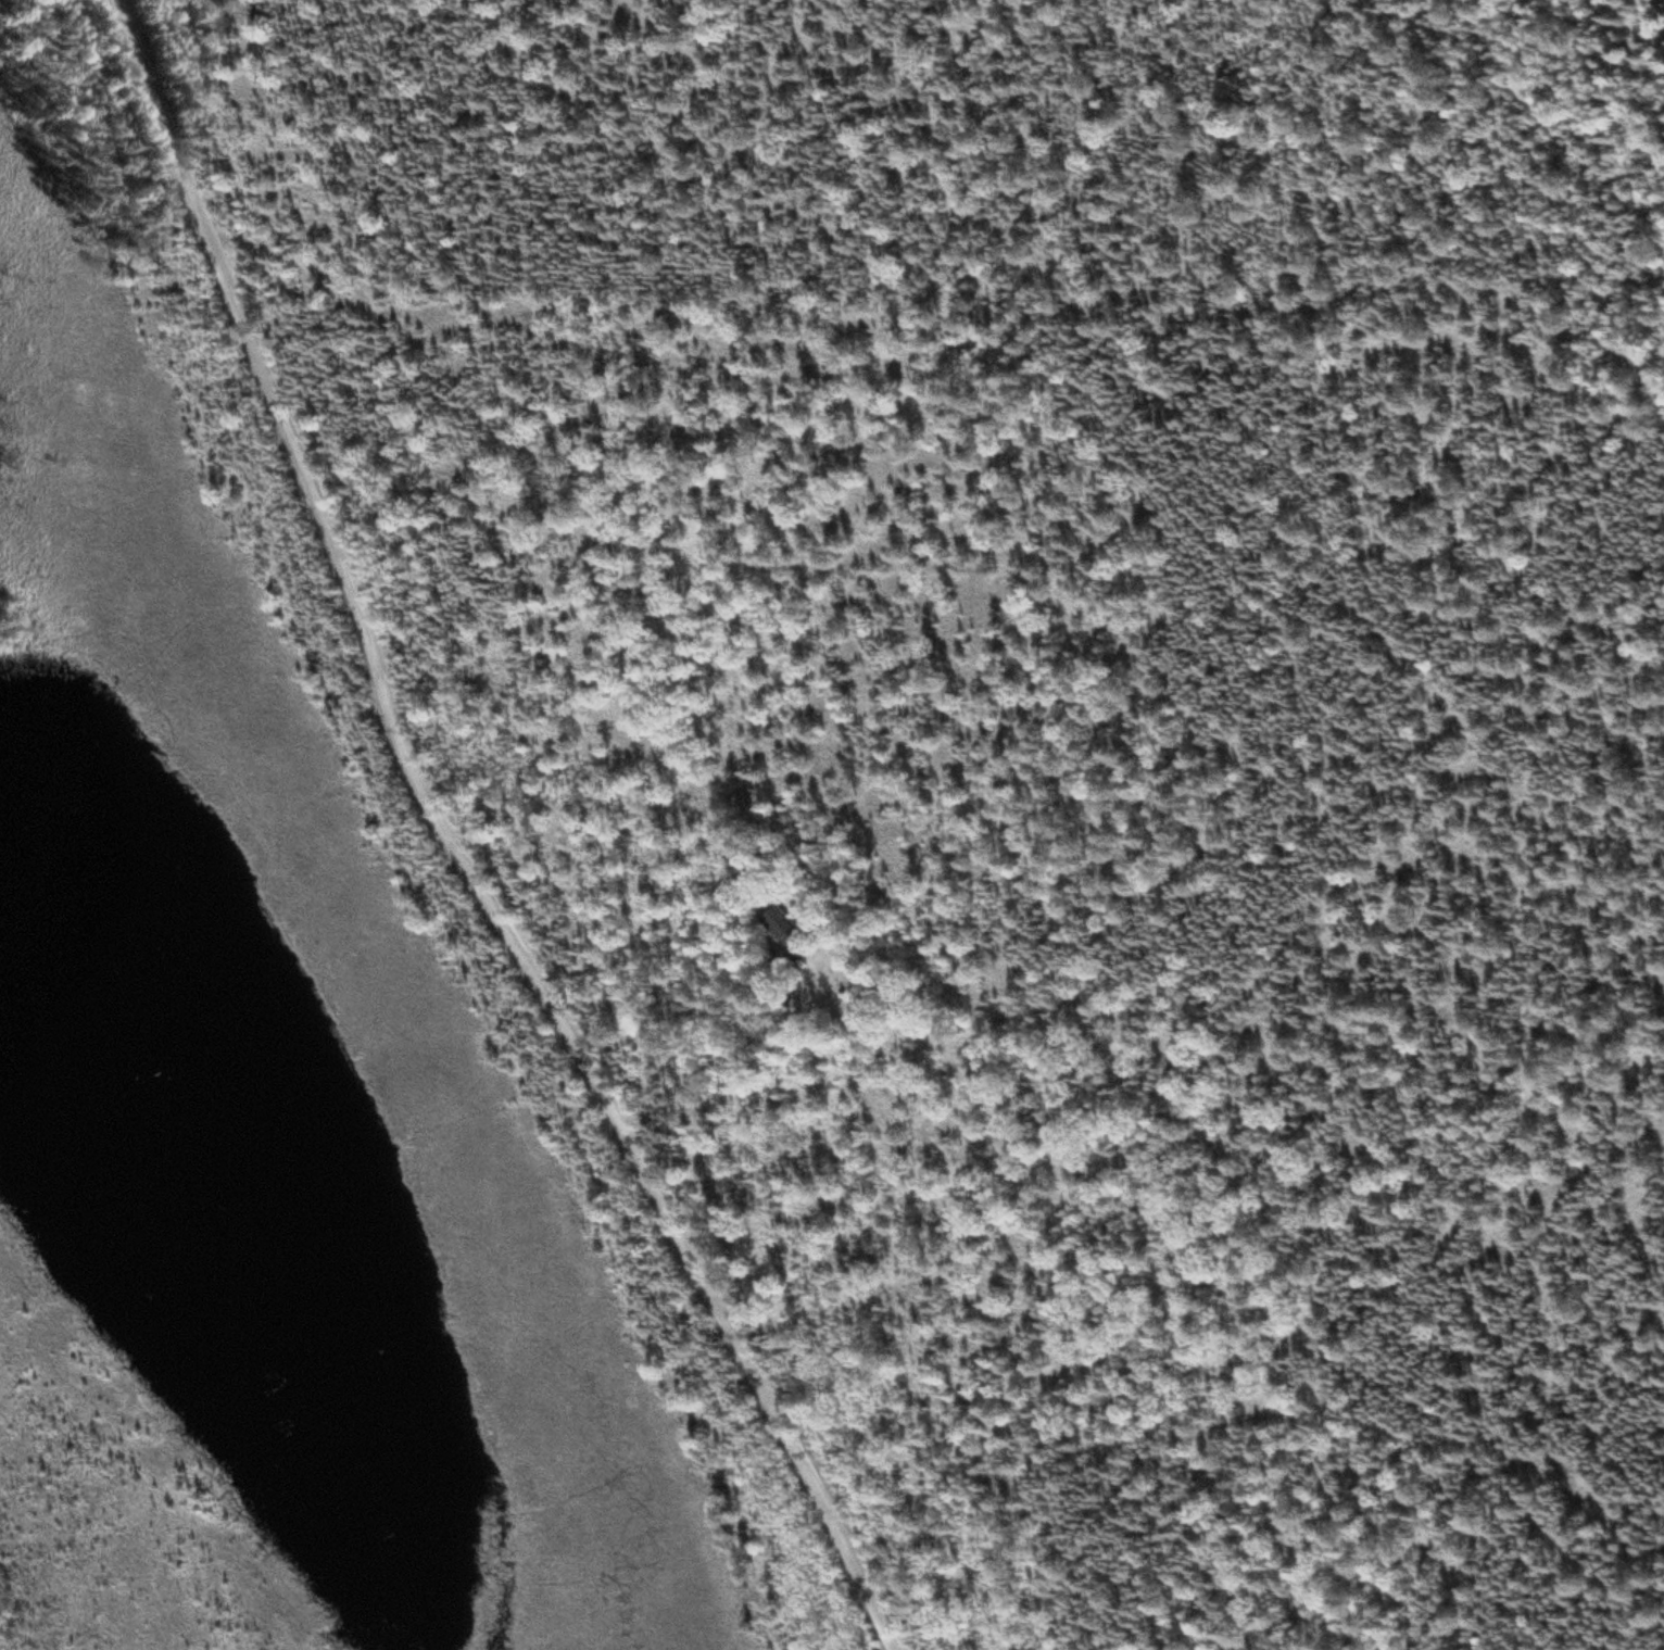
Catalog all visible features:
road: (464, 846)
building: (787, 924)

